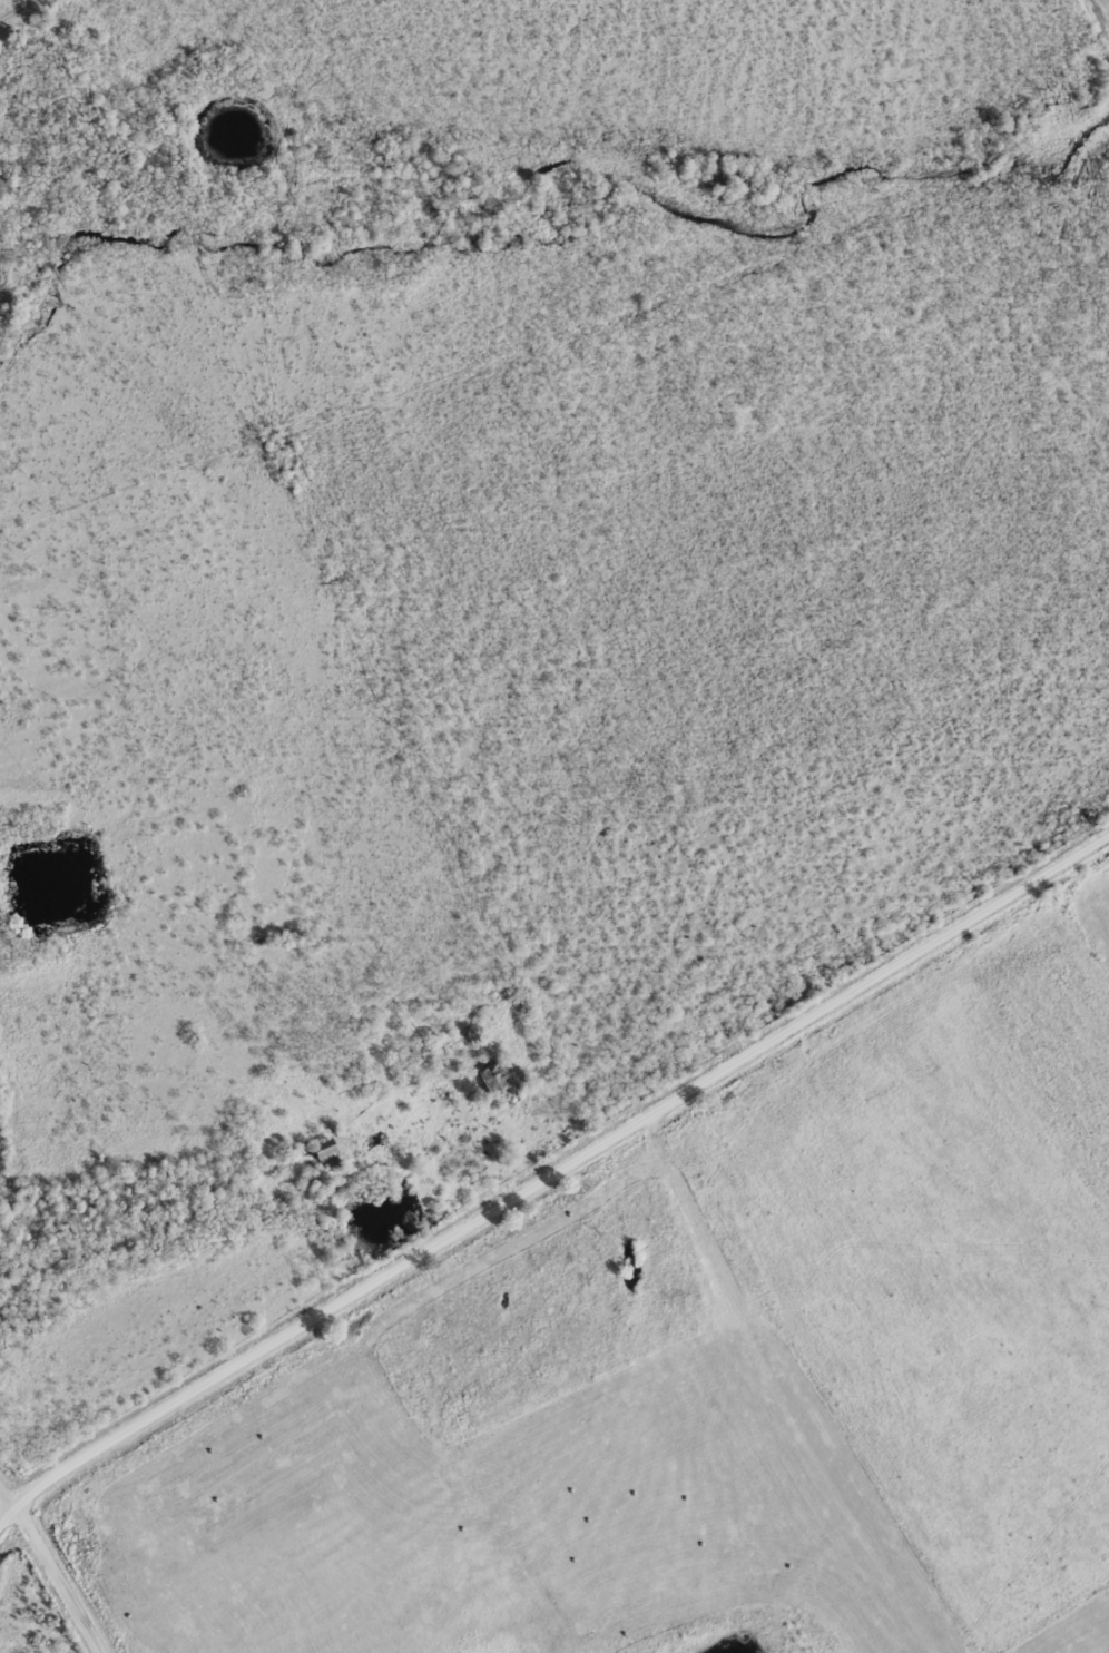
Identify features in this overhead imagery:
road: (550, 1170)
road: (56, 1561)

